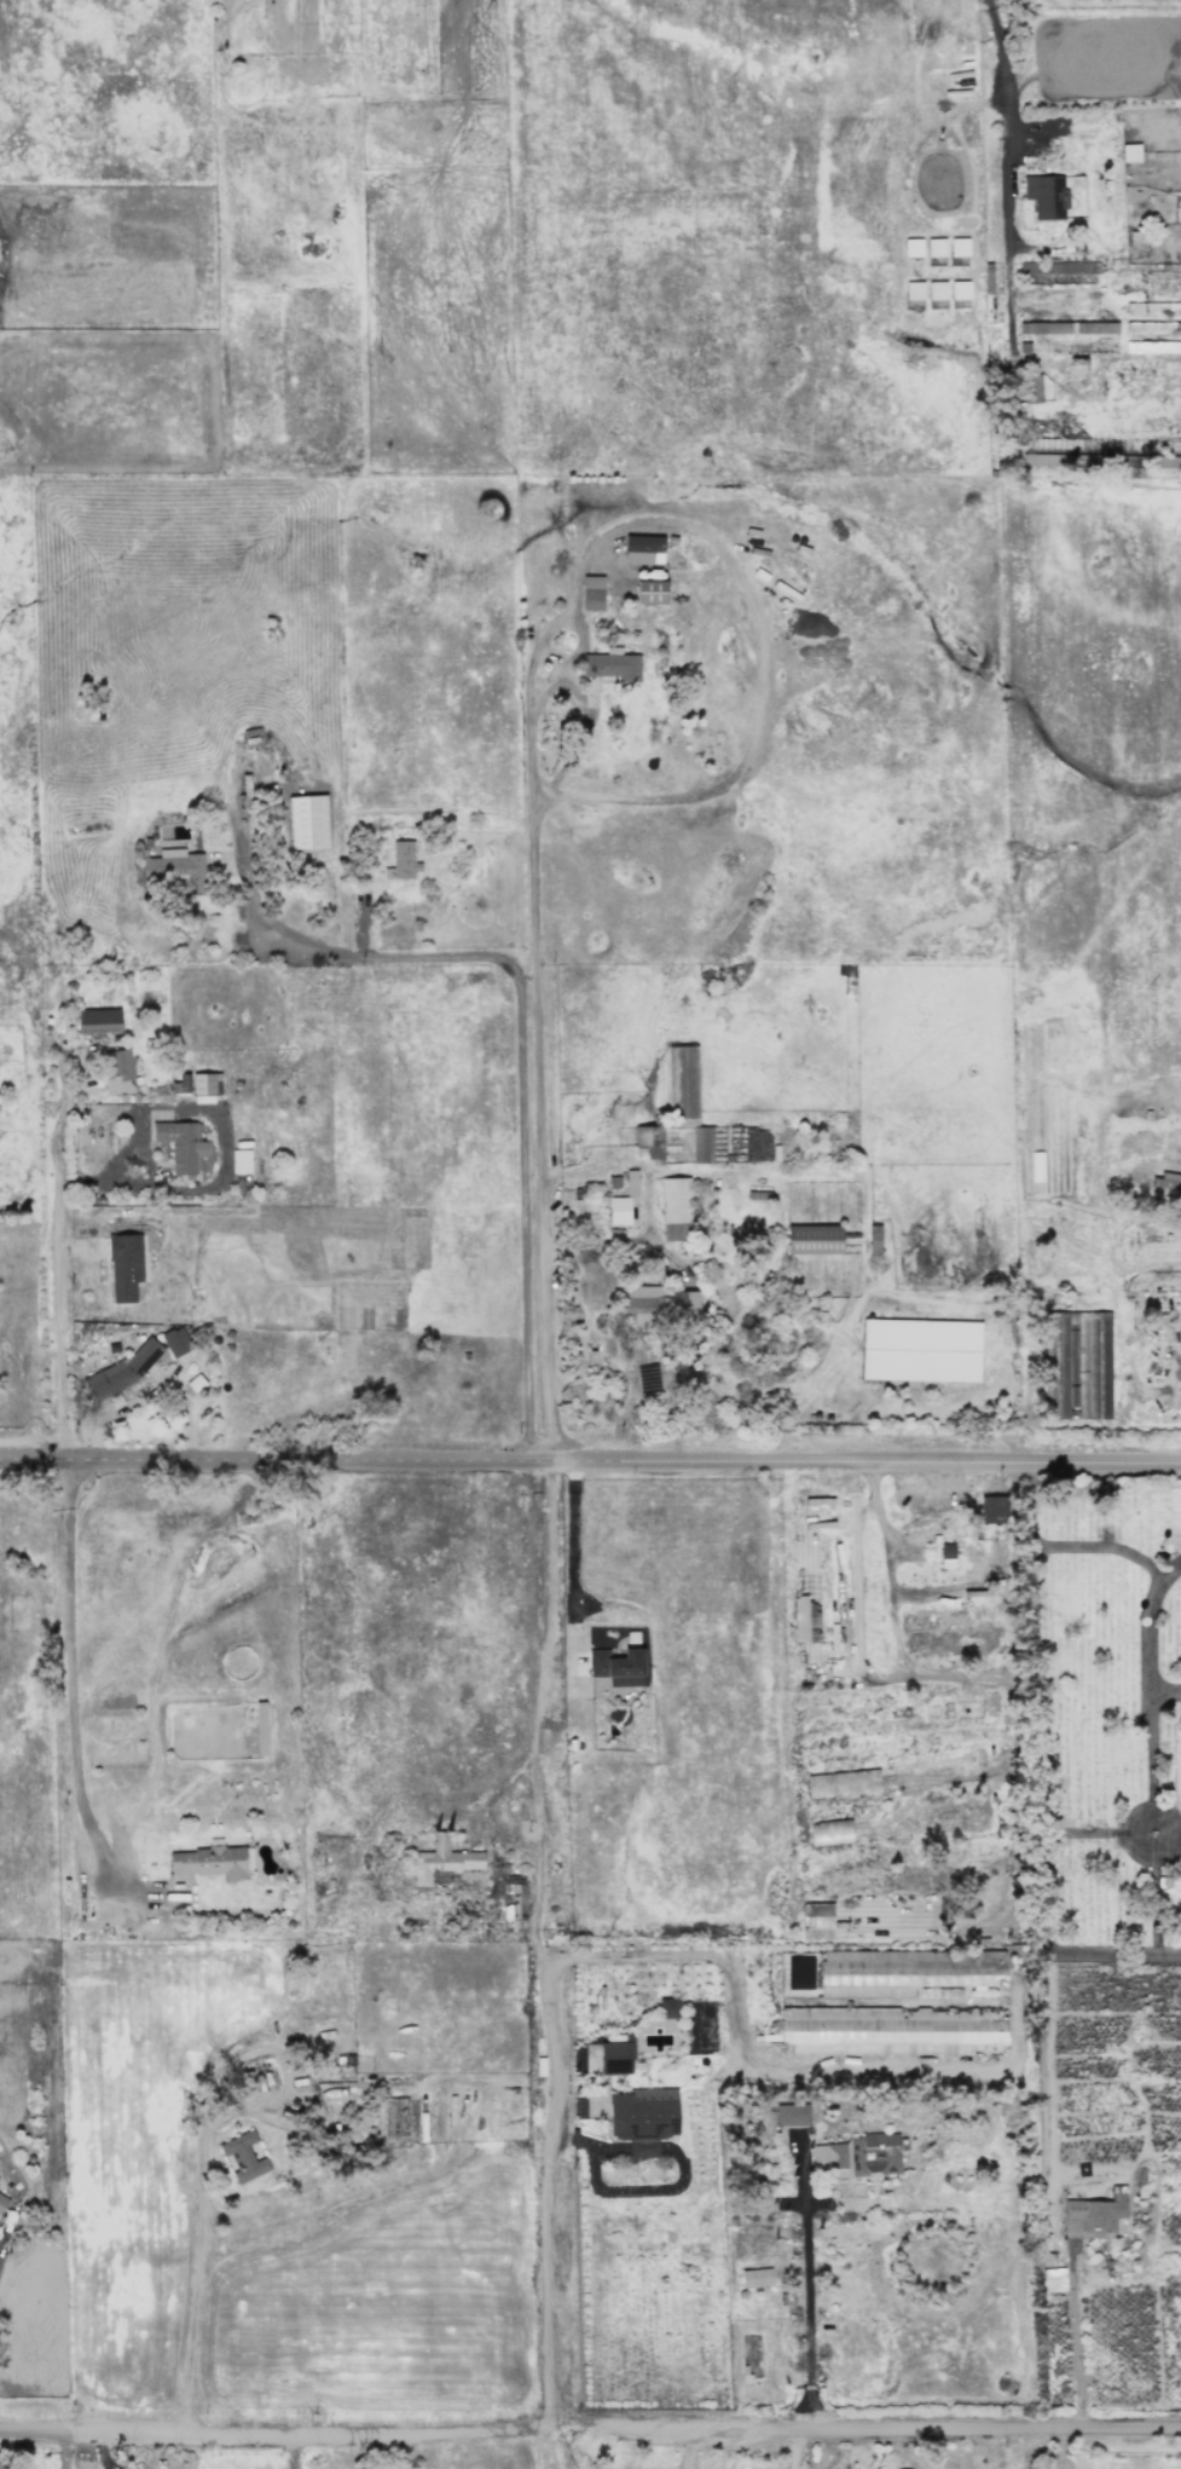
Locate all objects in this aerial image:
building: (1129, 152)
road: (1009, 172)
building: (1046, 196)
building: (911, 247)
building: (934, 247)
building: (957, 247)
building: (959, 289)
building: (913, 290)
building: (936, 290)
building: (1152, 308)
building: (1152, 327)
building: (1066, 328)
building: (1152, 347)
building: (1032, 390)
building: (643, 548)
building: (650, 592)
building: (592, 593)
building: (612, 665)
road: (531, 699)
building: (307, 821)
building: (401, 861)
building: (175, 870)
building: (98, 1021)
road: (522, 1026)
building: (117, 1072)
building: (682, 1081)
building: (180, 1085)
building: (650, 1142)
building: (180, 1144)
building: (701, 1144)
building: (239, 1161)
building: (631, 1182)
building: (675, 1208)
building: (619, 1211)
road: (621, 1239)
building: (812, 1239)
building: (874, 1239)
building: (123, 1267)
road: (62, 1288)
building: (642, 1299)
building: (682, 1305)
building: (175, 1342)
building: (920, 1350)
building: (1077, 1365)
building: (648, 1378)
road: (590, 1464)
building: (991, 1508)
building: (946, 1556)
road: (1168, 1564)
building: (805, 1620)
building: (616, 1667)
road: (1148, 1668)
road: (66, 1679)
road: (1165, 1691)
road: (537, 1715)
park: (1101, 1718)
building: (841, 1783)
road: (1037, 1800)
building: (829, 1831)
road: (1108, 1833)
building: (209, 1861)
building: (446, 1862)
building: (513, 1900)
building: (816, 1921)
building: (908, 1972)
building: (666, 2008)
building: (896, 2030)
building: (614, 2058)
road: (783, 2070)
building: (791, 2115)
building: (394, 2117)
building: (643, 2118)
building: (862, 2153)
building: (243, 2157)
road: (551, 2196)
building: (2, 2203)
building: (1094, 2215)
road: (1061, 2239)
road: (196, 2254)
building: (756, 2275)
building: (1053, 2279)
road: (807, 2292)
road: (590, 2430)
road: (64, 2450)
road: (293, 2450)
road: (684, 2450)
road: (789, 2450)
road: (1055, 2450)

